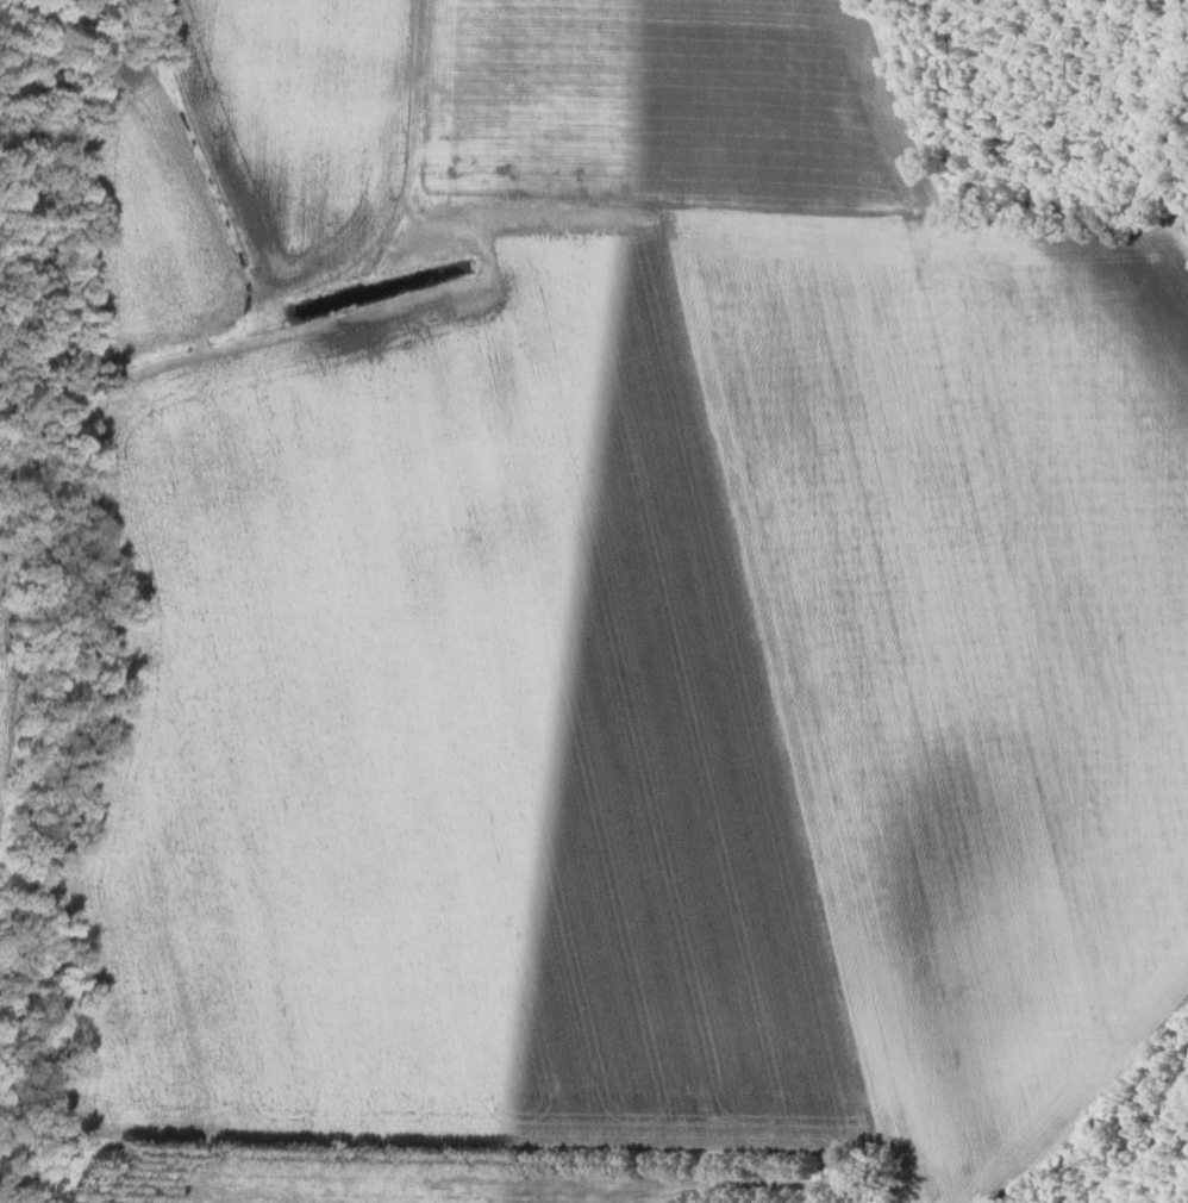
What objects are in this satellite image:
road: (906, 114)
road: (688, 220)

